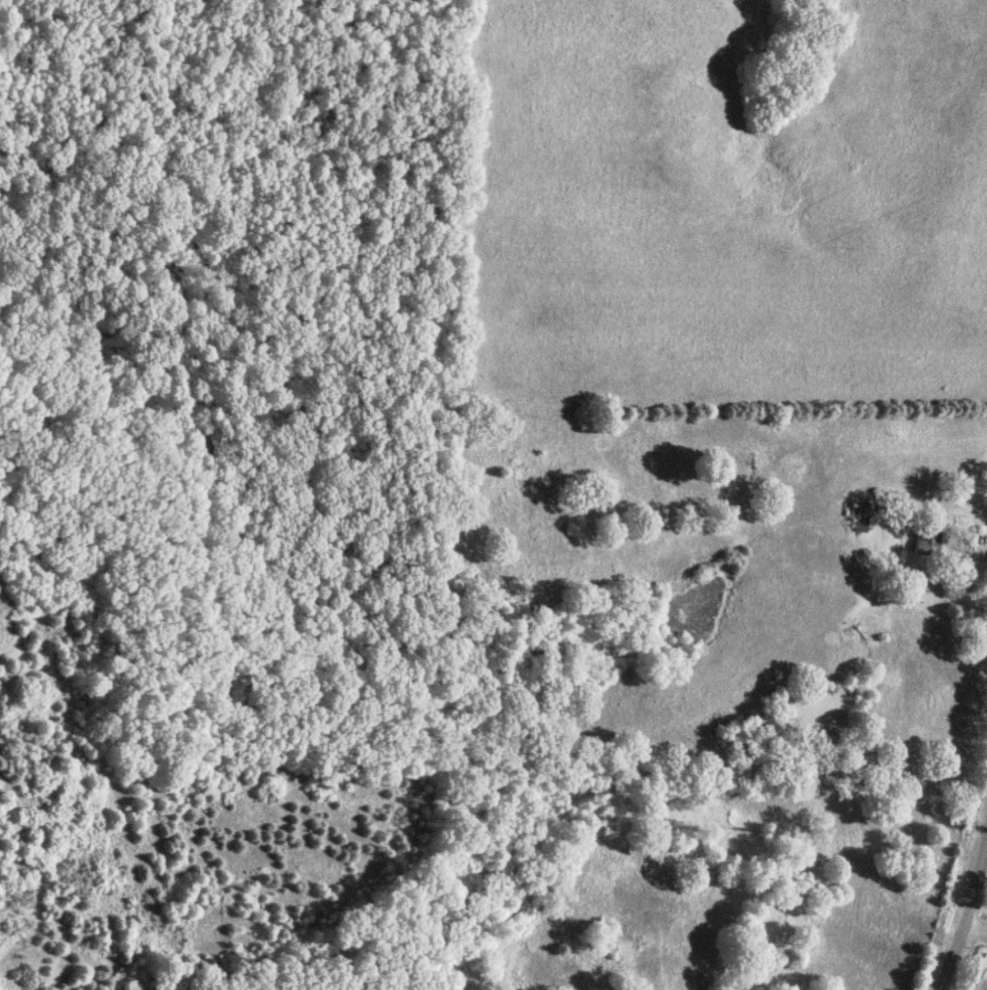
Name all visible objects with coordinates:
building: (859, 517)
road: (964, 909)
road: (972, 927)

